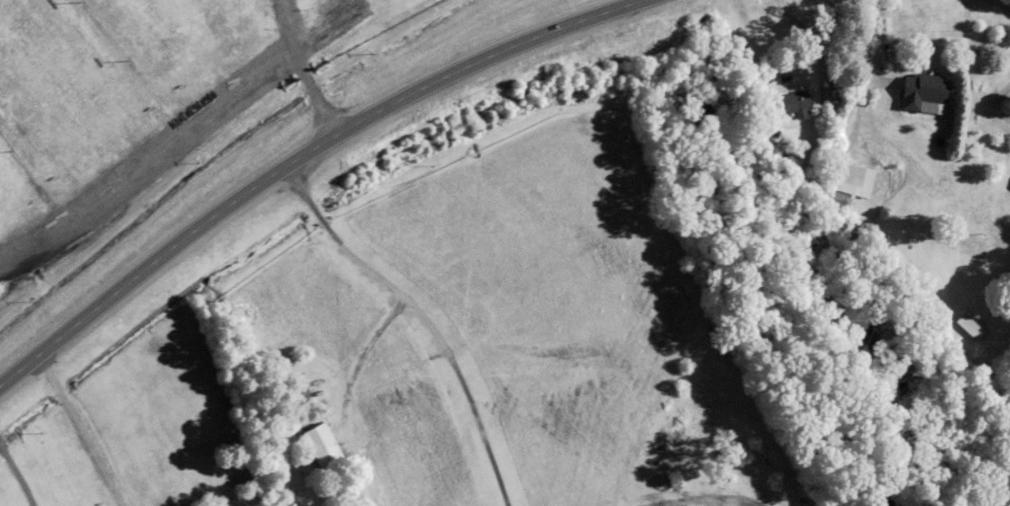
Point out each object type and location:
road: (816, 41)
road: (297, 72)
road: (866, 76)
building: (925, 91)
building: (792, 101)
road: (988, 105)
park: (152, 106)
road: (299, 154)
building: (848, 173)
building: (838, 197)
road: (419, 315)
building: (971, 325)
road: (373, 330)
road: (77, 430)
building: (324, 445)
road: (14, 479)

